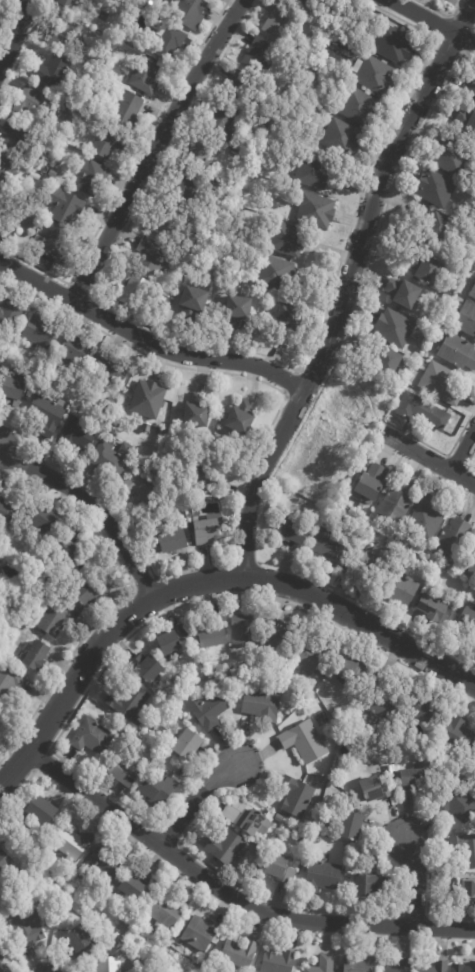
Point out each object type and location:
building: (72, 1)
building: (305, 4)
building: (188, 12)
road: (440, 13)
road: (464, 17)
road: (7, 19)
building: (278, 22)
road: (431, 22)
road: (15, 34)
building: (62, 38)
road: (434, 39)
building: (168, 42)
building: (393, 45)
road: (23, 48)
building: (322, 50)
building: (258, 56)
building: (307, 66)
building: (313, 70)
building: (51, 71)
building: (373, 74)
building: (144, 76)
building: (323, 82)
building: (239, 85)
building: (41, 89)
building: (273, 89)
building: (472, 89)
building: (70, 96)
building: (31, 105)
building: (358, 107)
building: (128, 109)
building: (55, 113)
building: (66, 113)
building: (222, 122)
building: (466, 123)
building: (17, 132)
building: (60, 134)
building: (341, 138)
building: (107, 142)
building: (244, 147)
road: (153, 148)
building: (200, 154)
building: (451, 156)
building: (4, 167)
building: (313, 172)
road: (126, 173)
building: (31, 176)
building: (92, 176)
building: (184, 186)
building: (435, 188)
building: (63, 206)
building: (0, 207)
building: (315, 210)
building: (166, 224)
building: (433, 224)
building: (286, 238)
building: (51, 243)
building: (153, 256)
road: (370, 258)
building: (187, 260)
building: (425, 269)
building: (275, 273)
building: (130, 292)
building: (403, 293)
building: (473, 293)
road: (90, 295)
building: (193, 302)
road: (343, 306)
building: (237, 312)
building: (10, 314)
building: (289, 317)
building: (466, 319)
building: (394, 328)
building: (38, 333)
road: (146, 342)
building: (424, 342)
road: (240, 350)
building: (72, 352)
building: (458, 352)
building: (416, 357)
building: (381, 362)
building: (412, 366)
building: (107, 369)
road: (290, 380)
building: (440, 384)
building: (11, 391)
building: (28, 394)
building: (147, 399)
building: (196, 411)
building: (422, 411)
building: (46, 415)
building: (240, 418)
building: (145, 429)
building: (80, 433)
building: (159, 443)
road: (463, 450)
road: (439, 452)
building: (112, 458)
road: (428, 458)
road: (455, 462)
road: (471, 470)
road: (245, 472)
building: (174, 481)
building: (208, 483)
building: (370, 485)
building: (140, 487)
building: (178, 502)
building: (397, 502)
road: (94, 505)
building: (7, 514)
building: (425, 519)
building: (41, 520)
building: (205, 532)
building: (291, 534)
building: (171, 541)
building: (452, 541)
building: (65, 544)
building: (330, 547)
building: (0, 561)
road: (242, 562)
building: (364, 564)
building: (472, 567)
road: (204, 581)
road: (145, 583)
building: (400, 590)
building: (87, 594)
road: (175, 607)
road: (368, 607)
building: (431, 609)
building: (54, 618)
building: (465, 623)
building: (245, 630)
building: (212, 633)
building: (279, 633)
building: (172, 643)
building: (34, 658)
building: (313, 658)
building: (147, 666)
road: (61, 668)
building: (350, 668)
building: (277, 675)
building: (227, 680)
building: (9, 682)
building: (285, 697)
building: (125, 701)
building: (381, 703)
building: (261, 704)
building: (420, 706)
building: (208, 710)
building: (1, 717)
building: (458, 733)
building: (90, 736)
building: (303, 741)
building: (187, 743)
road: (31, 769)
building: (125, 771)
building: (413, 780)
building: (157, 788)
building: (375, 788)
road: (17, 789)
building: (296, 795)
road: (193, 799)
building: (457, 802)
building: (353, 804)
building: (40, 809)
building: (245, 817)
building: (278, 817)
building: (350, 826)
building: (291, 833)
road: (169, 836)
building: (303, 840)
building: (71, 841)
building: (226, 845)
building: (465, 848)
building: (4, 861)
building: (103, 863)
building: (280, 868)
building: (322, 876)
road: (414, 880)
building: (133, 885)
building: (366, 885)
road: (428, 889)
building: (0, 890)
building: (468, 890)
road: (253, 894)
road: (230, 896)
building: (0, 902)
building: (165, 908)
road: (414, 915)
building: (25, 928)
building: (200, 932)
building: (78, 939)
building: (239, 953)
building: (1, 958)
building: (277, 961)
building: (135, 962)
building: (359, 963)
building: (109, 964)
building: (322, 964)
building: (397, 965)
building: (435, 967)
building: (462, 967)
building: (2, 970)

